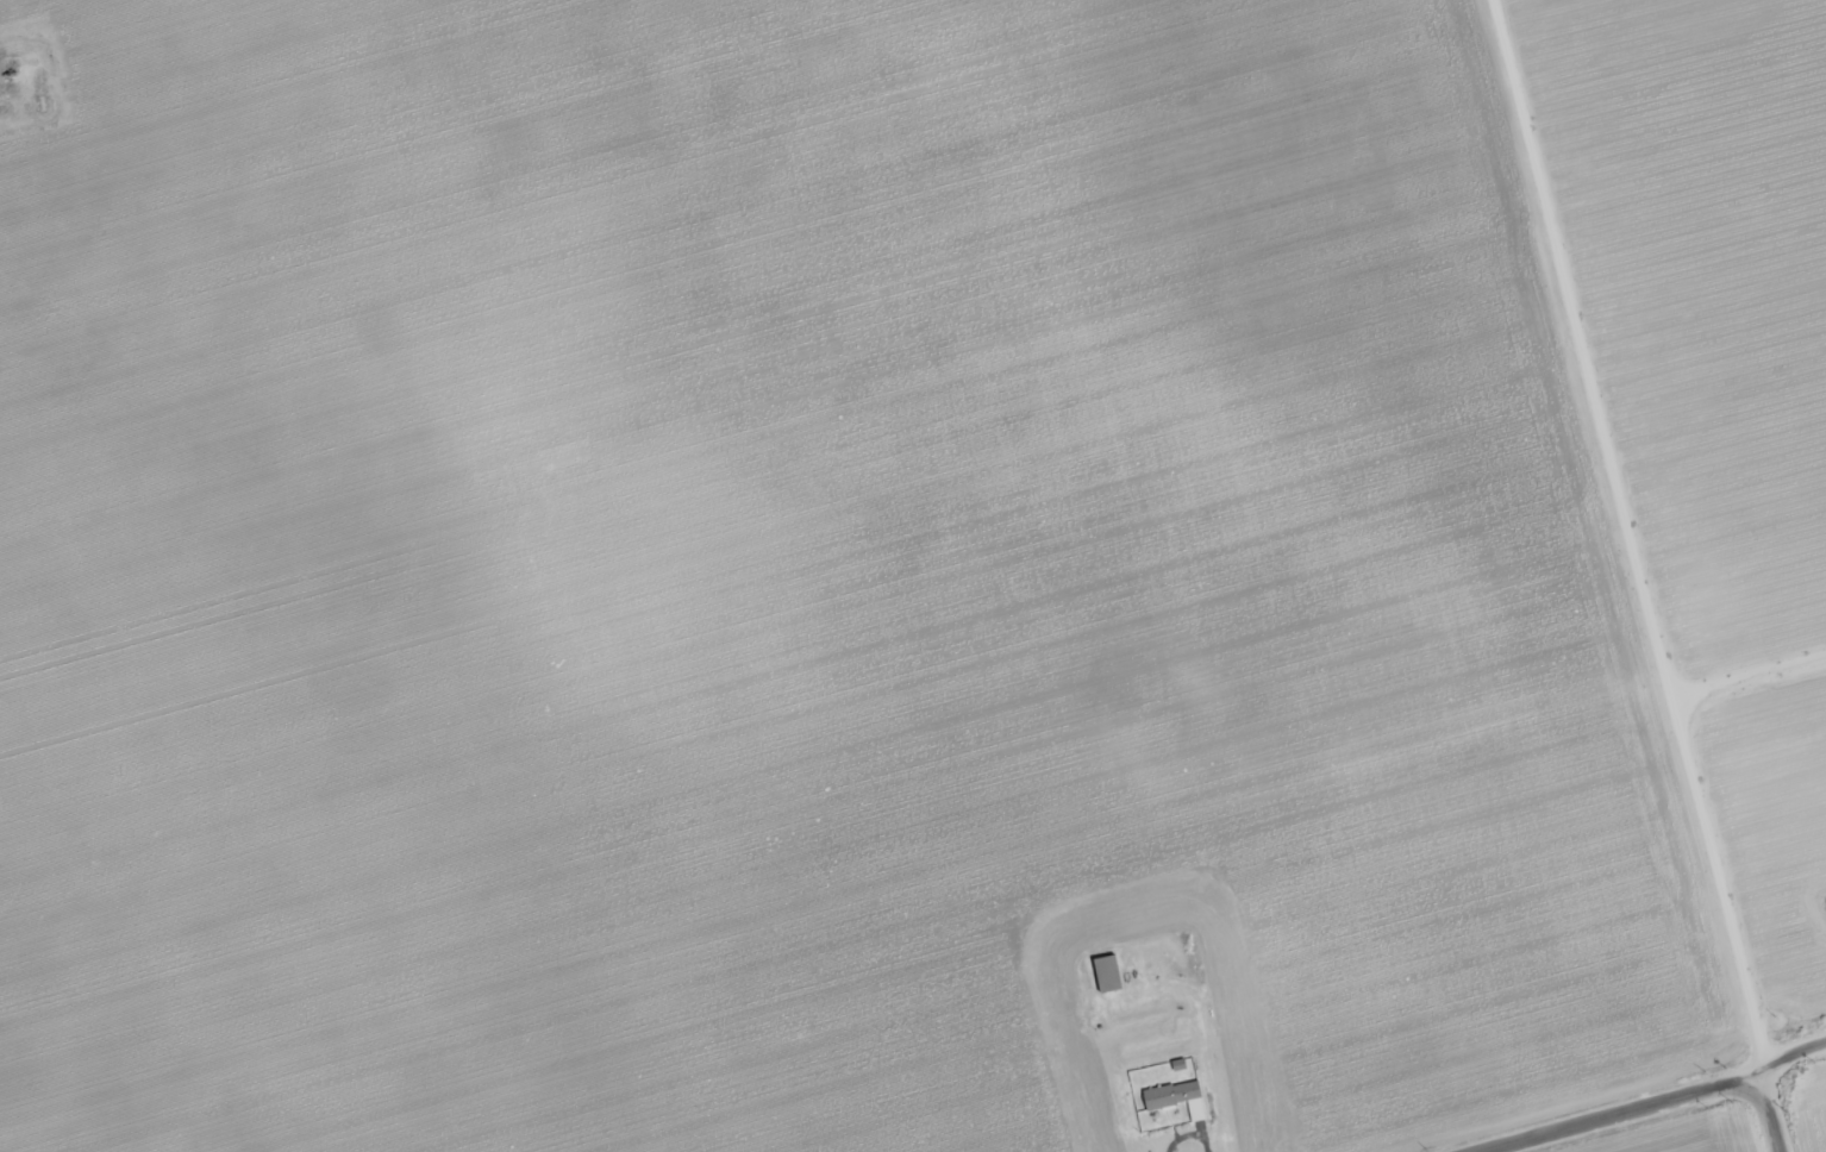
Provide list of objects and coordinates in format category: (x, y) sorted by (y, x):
road: (1627, 536)
building: (1107, 973)
building: (1176, 1098)
road: (1651, 1102)
road: (1765, 1110)

